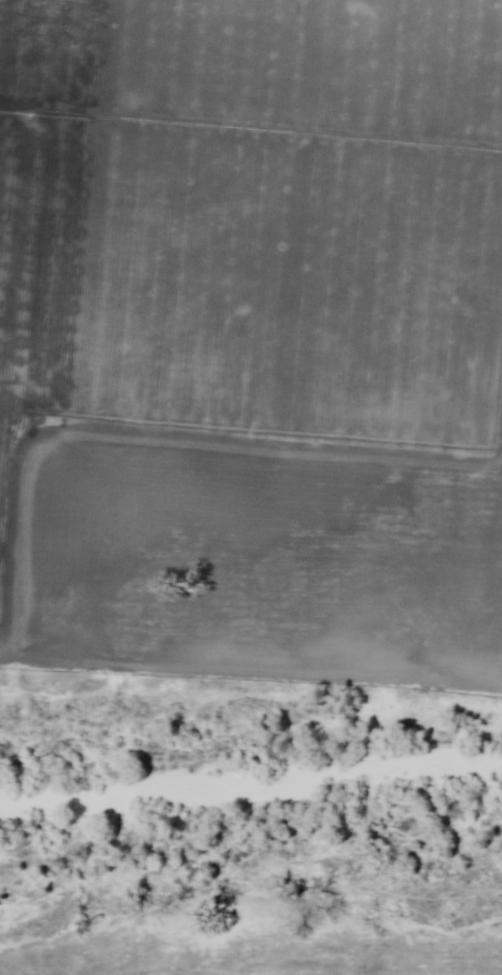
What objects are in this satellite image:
crop: (252, 333)
river: (251, 773)

